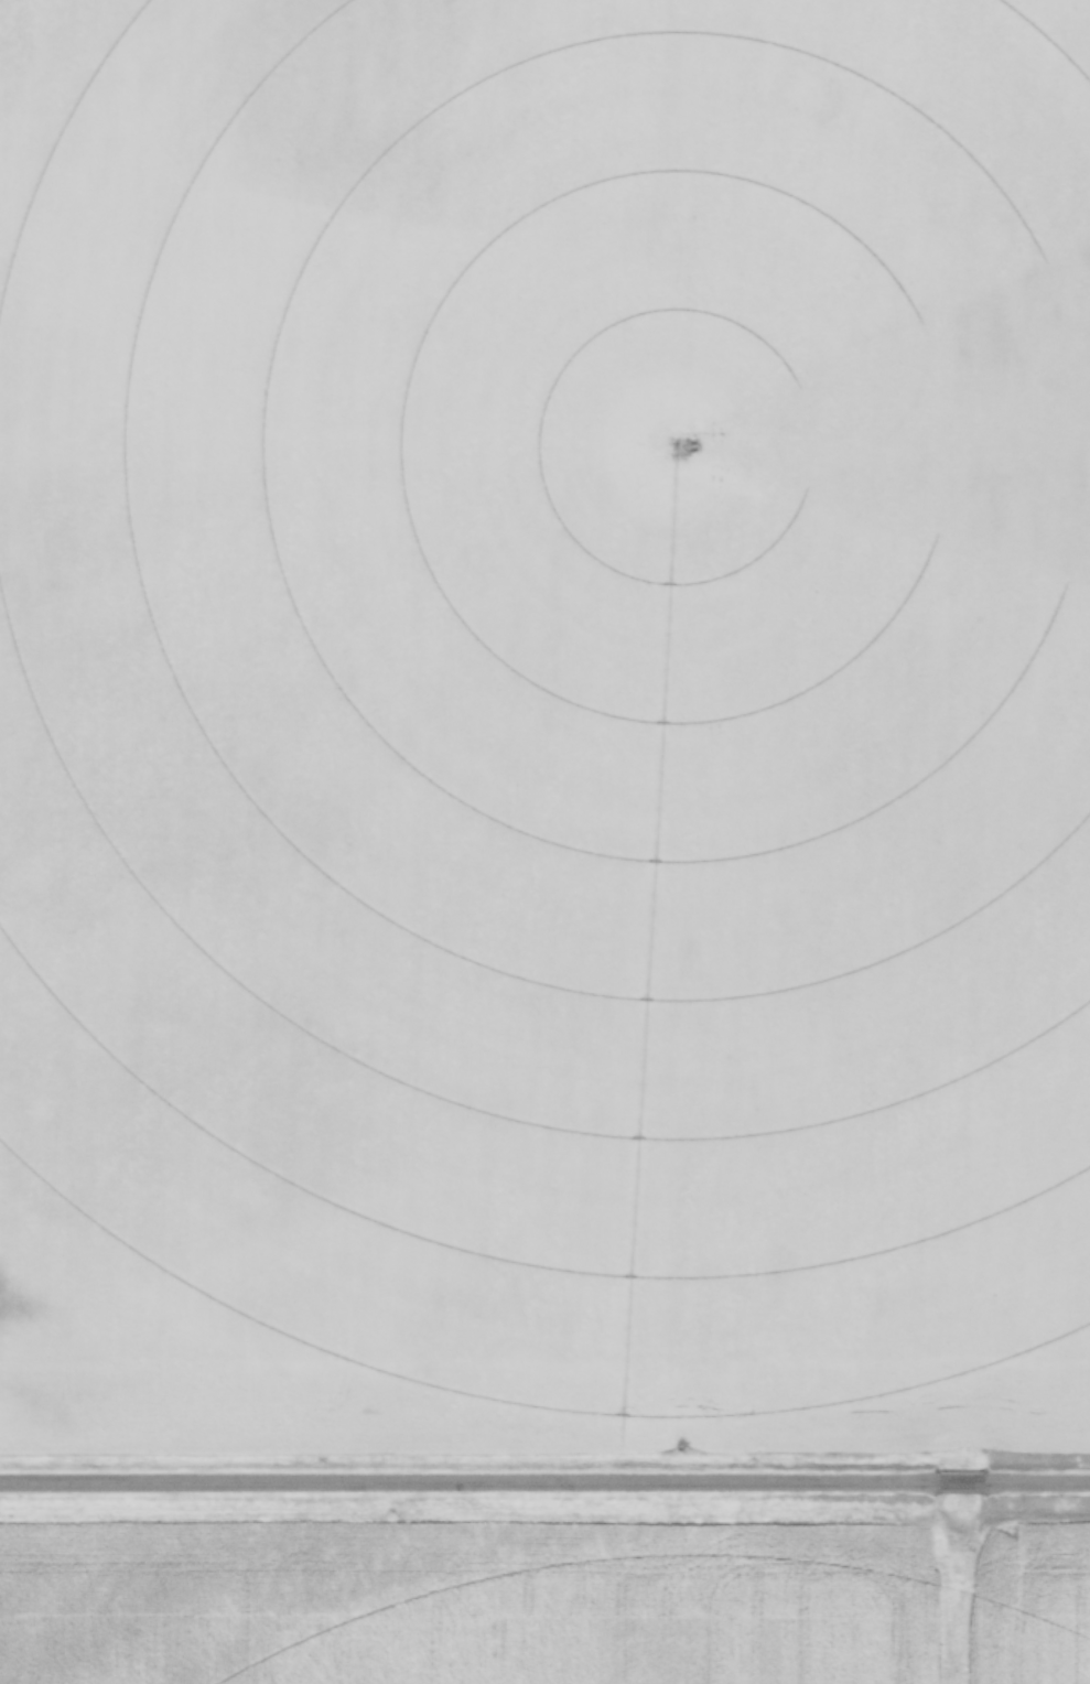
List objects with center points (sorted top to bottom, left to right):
road: (544, 1485)

